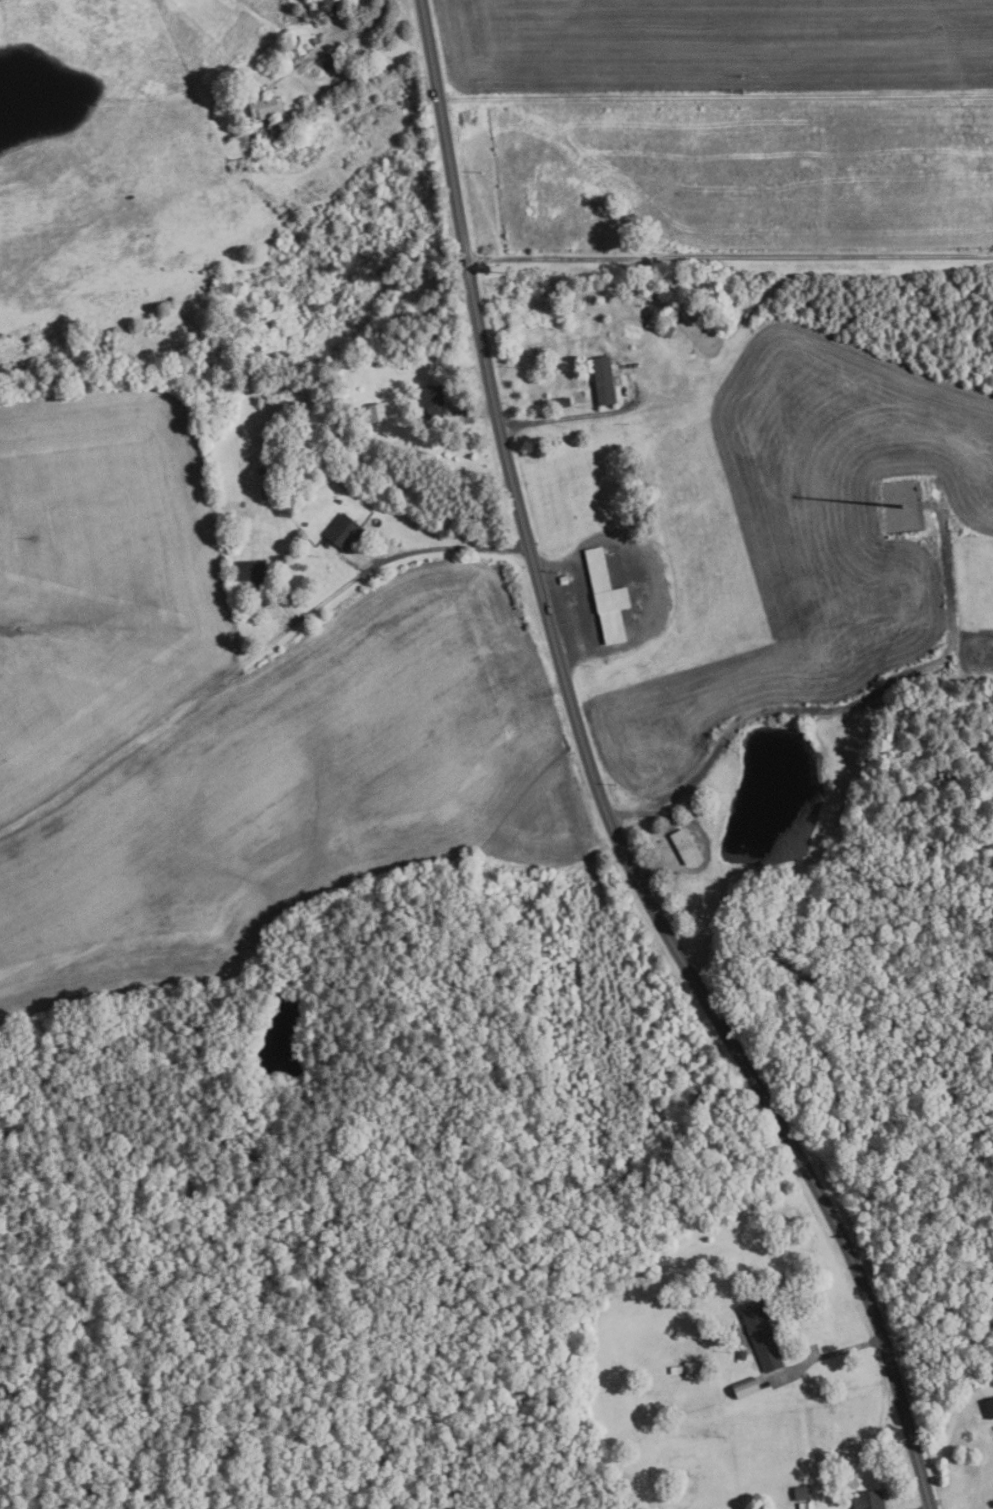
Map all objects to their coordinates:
building: (325, 8)
building: (302, 16)
road: (344, 37)
road: (715, 94)
building: (262, 105)
road: (729, 253)
building: (660, 326)
building: (686, 340)
building: (678, 372)
building: (603, 380)
building: (433, 401)
building: (562, 403)
building: (376, 412)
road: (474, 412)
road: (570, 418)
building: (261, 471)
building: (267, 494)
building: (304, 523)
building: (344, 532)
road: (393, 557)
building: (251, 572)
building: (563, 581)
building: (607, 596)
building: (270, 598)
road: (843, 710)
road: (144, 738)
road: (597, 782)
building: (684, 847)
building: (762, 1336)
building: (742, 1355)
road: (822, 1357)
building: (687, 1370)
building: (745, 1389)
building: (803, 1492)
building: (869, 1500)
building: (806, 1505)

